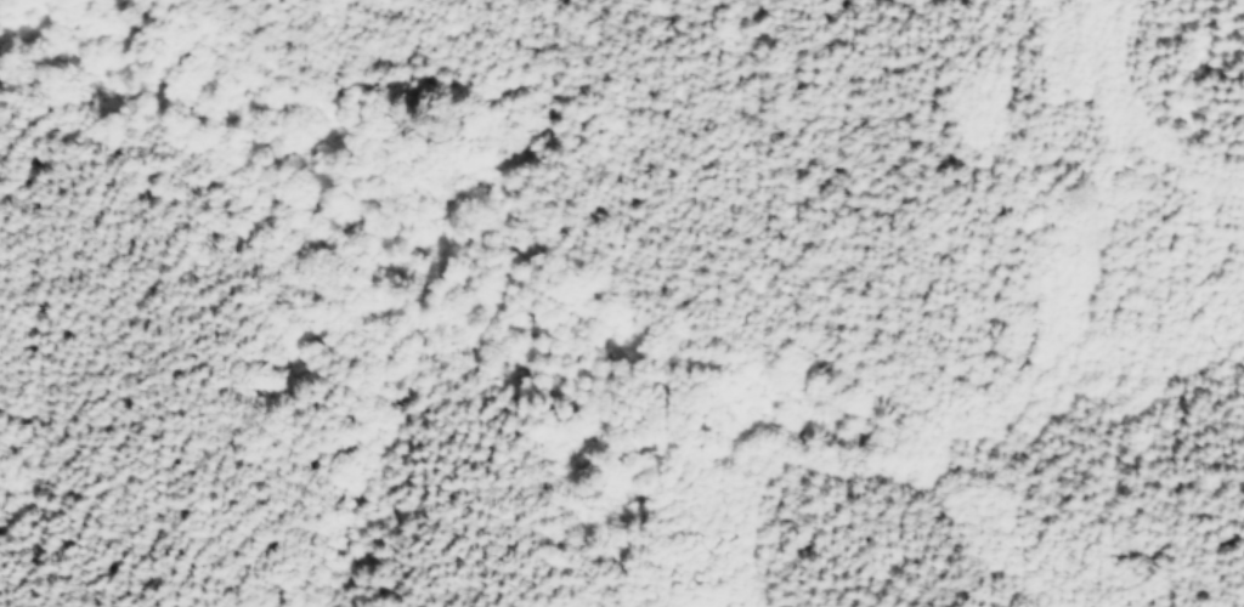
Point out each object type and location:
road: (1166, 98)

